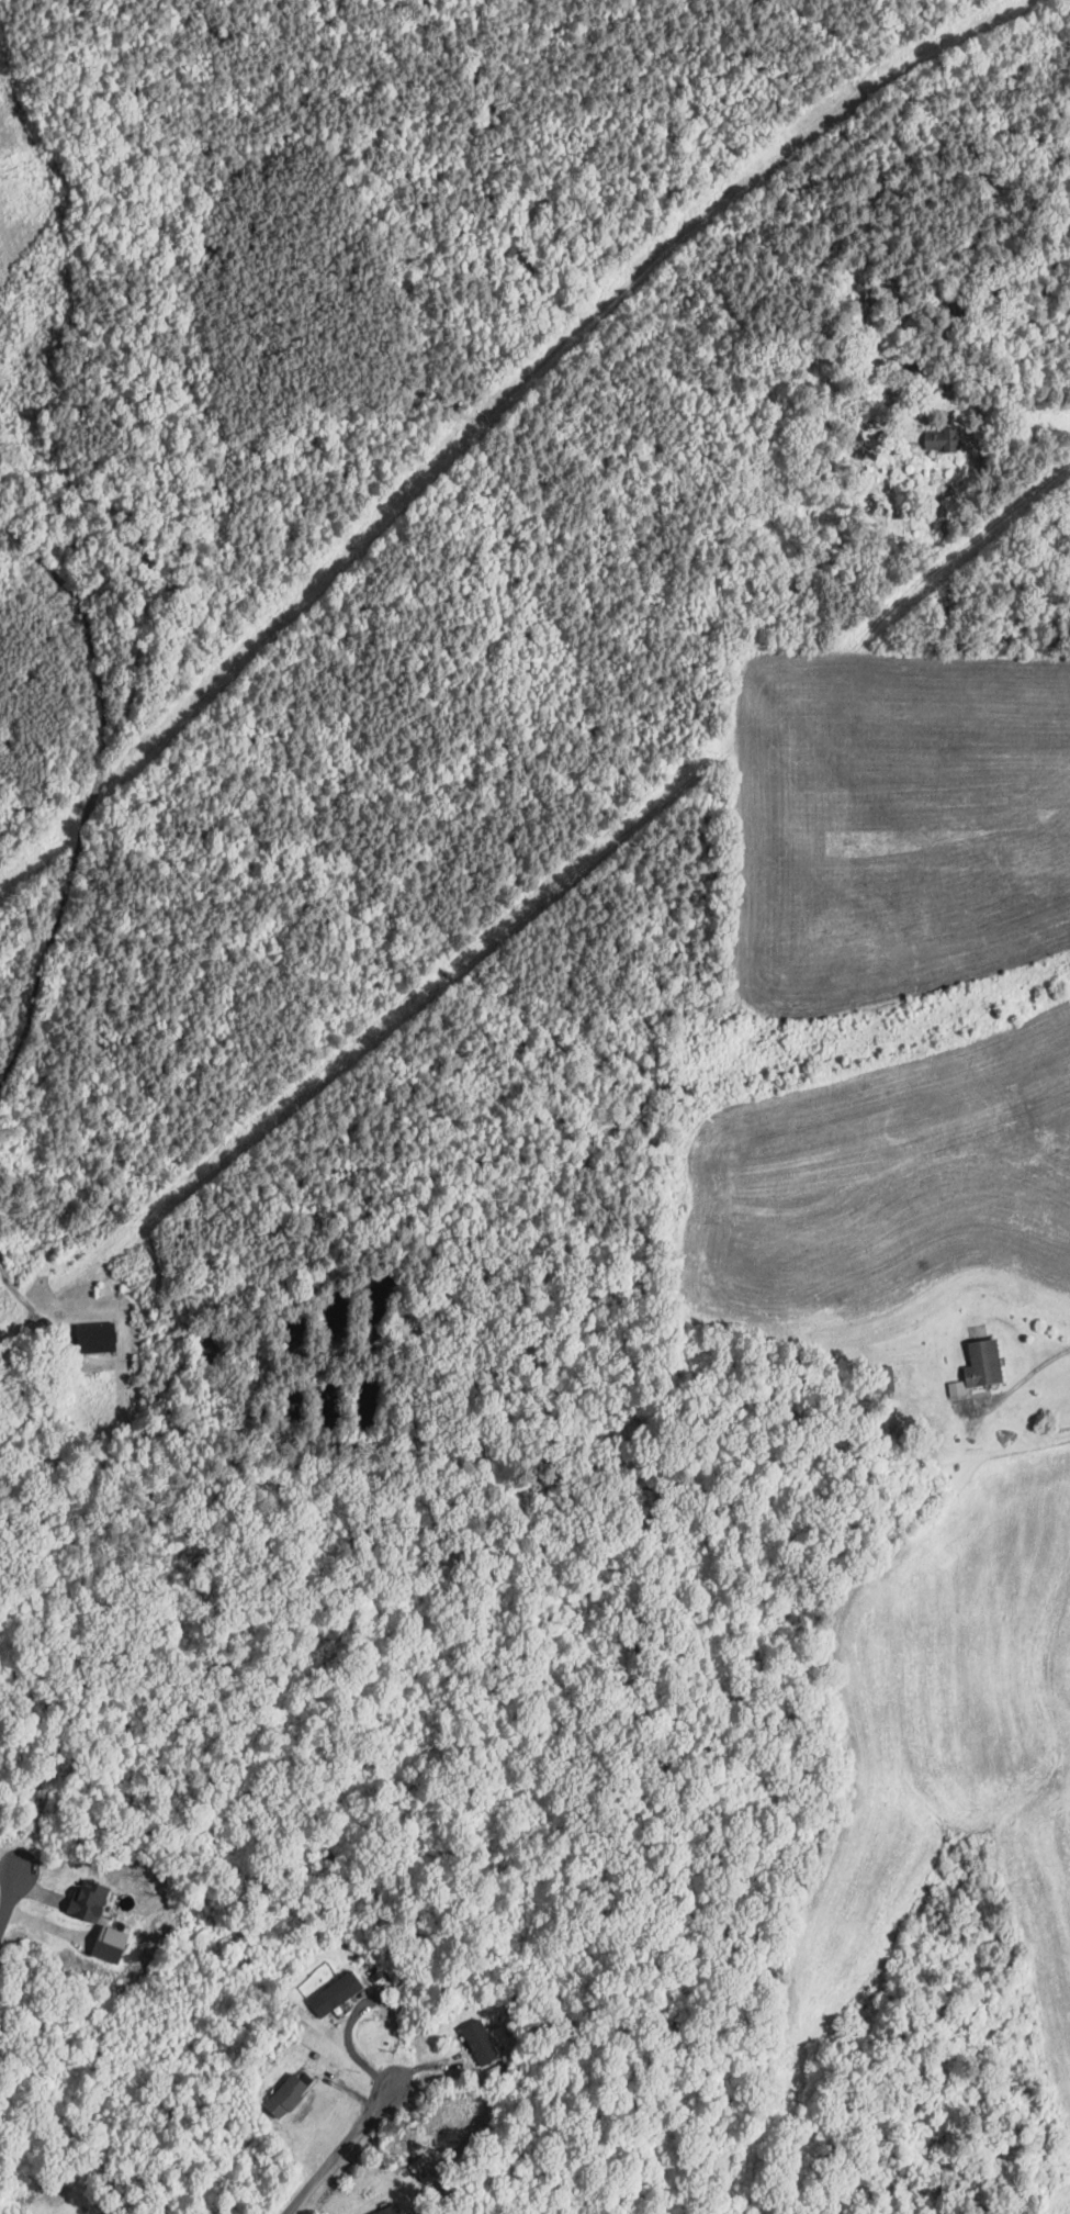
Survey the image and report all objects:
building: (939, 439)
road: (86, 787)
road: (19, 1296)
building: (104, 1334)
building: (975, 1366)
road: (1024, 1377)
building: (882, 1378)
road: (15, 1886)
building: (93, 1900)
building: (115, 1944)
building: (338, 1992)
road: (359, 2005)
building: (480, 2042)
building: (291, 2093)
road: (338, 2148)
building: (393, 2210)

